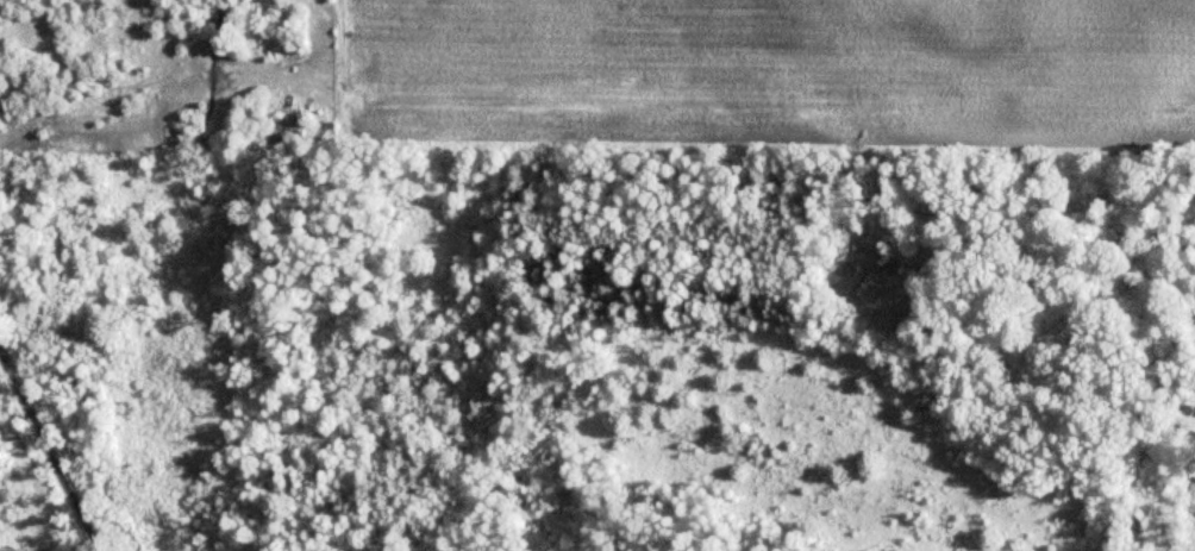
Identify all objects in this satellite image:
road: (52, 444)

